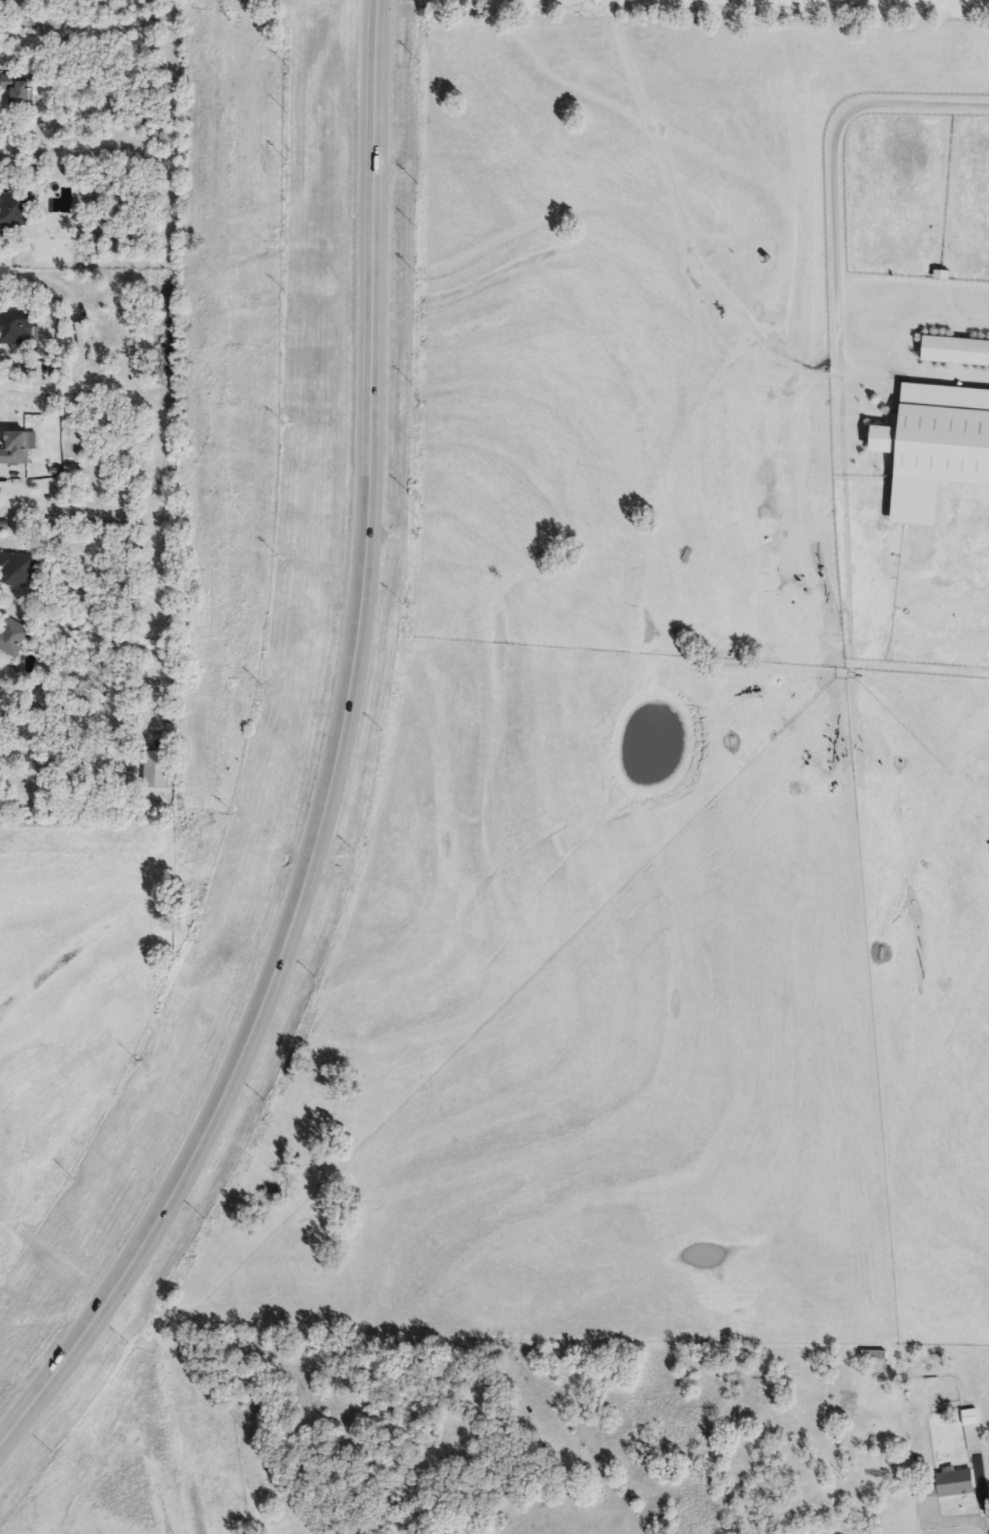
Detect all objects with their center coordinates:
road: (375, 36)
building: (22, 90)
road: (833, 168)
building: (15, 210)
building: (16, 329)
road: (908, 340)
building: (955, 351)
road: (941, 379)
building: (940, 435)
building: (18, 450)
building: (21, 570)
building: (14, 637)
road: (340, 746)
road: (45, 747)
building: (876, 1356)
road: (33, 1402)
building: (865, 1435)
building: (957, 1484)
road: (987, 1516)

